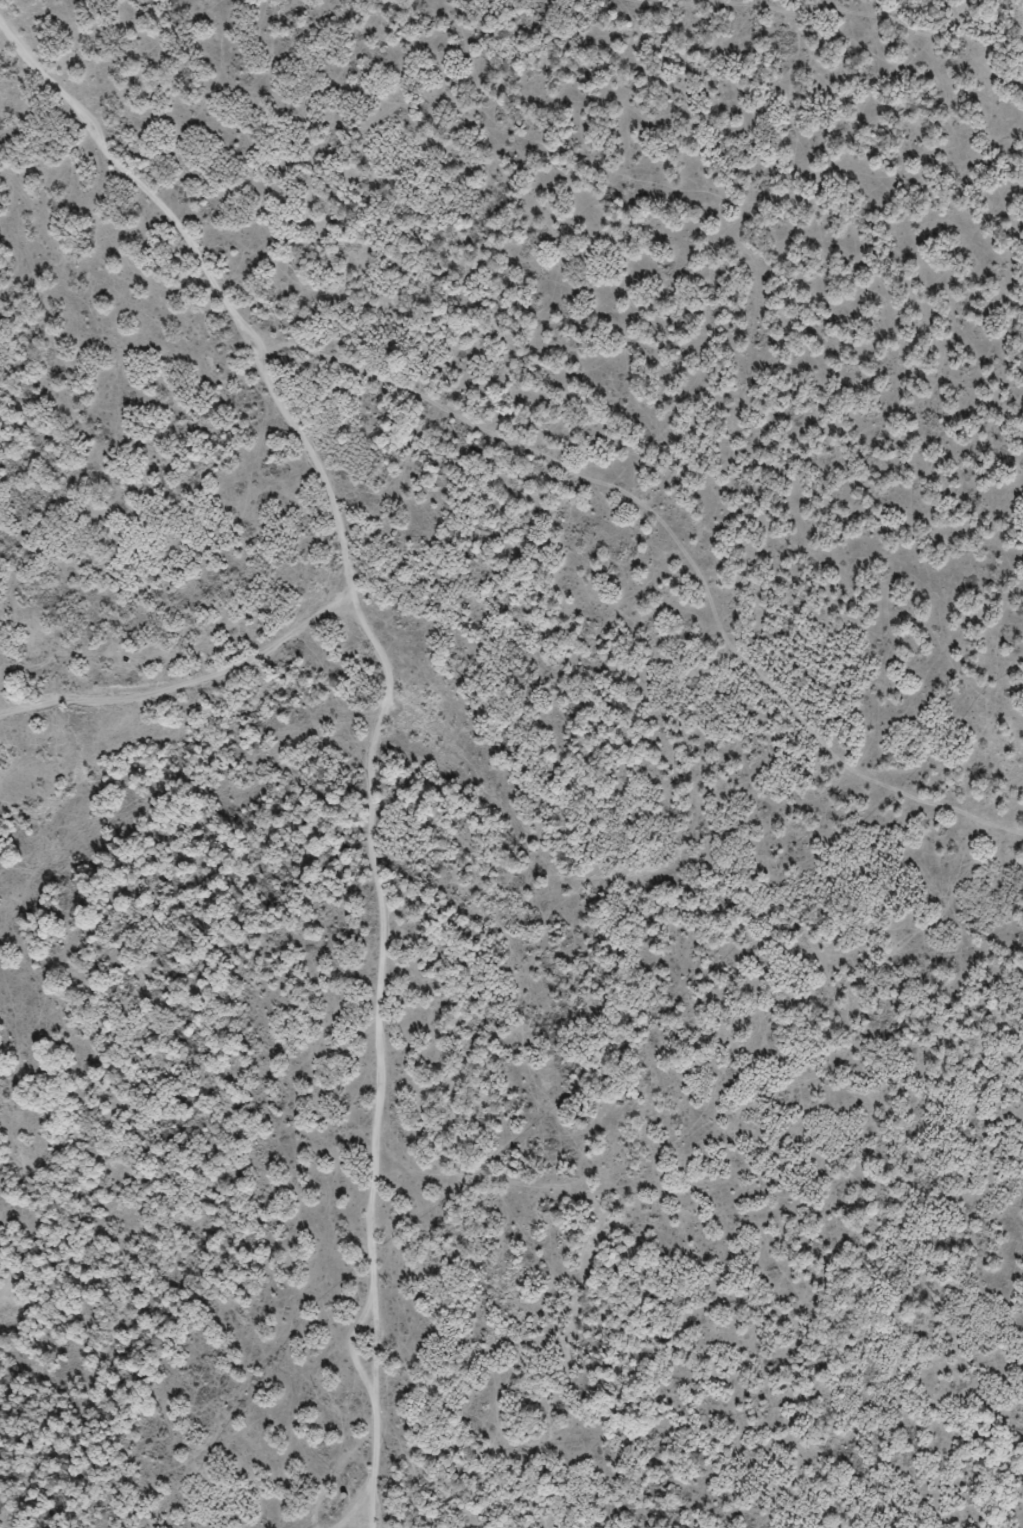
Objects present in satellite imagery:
road: (406, 719)

